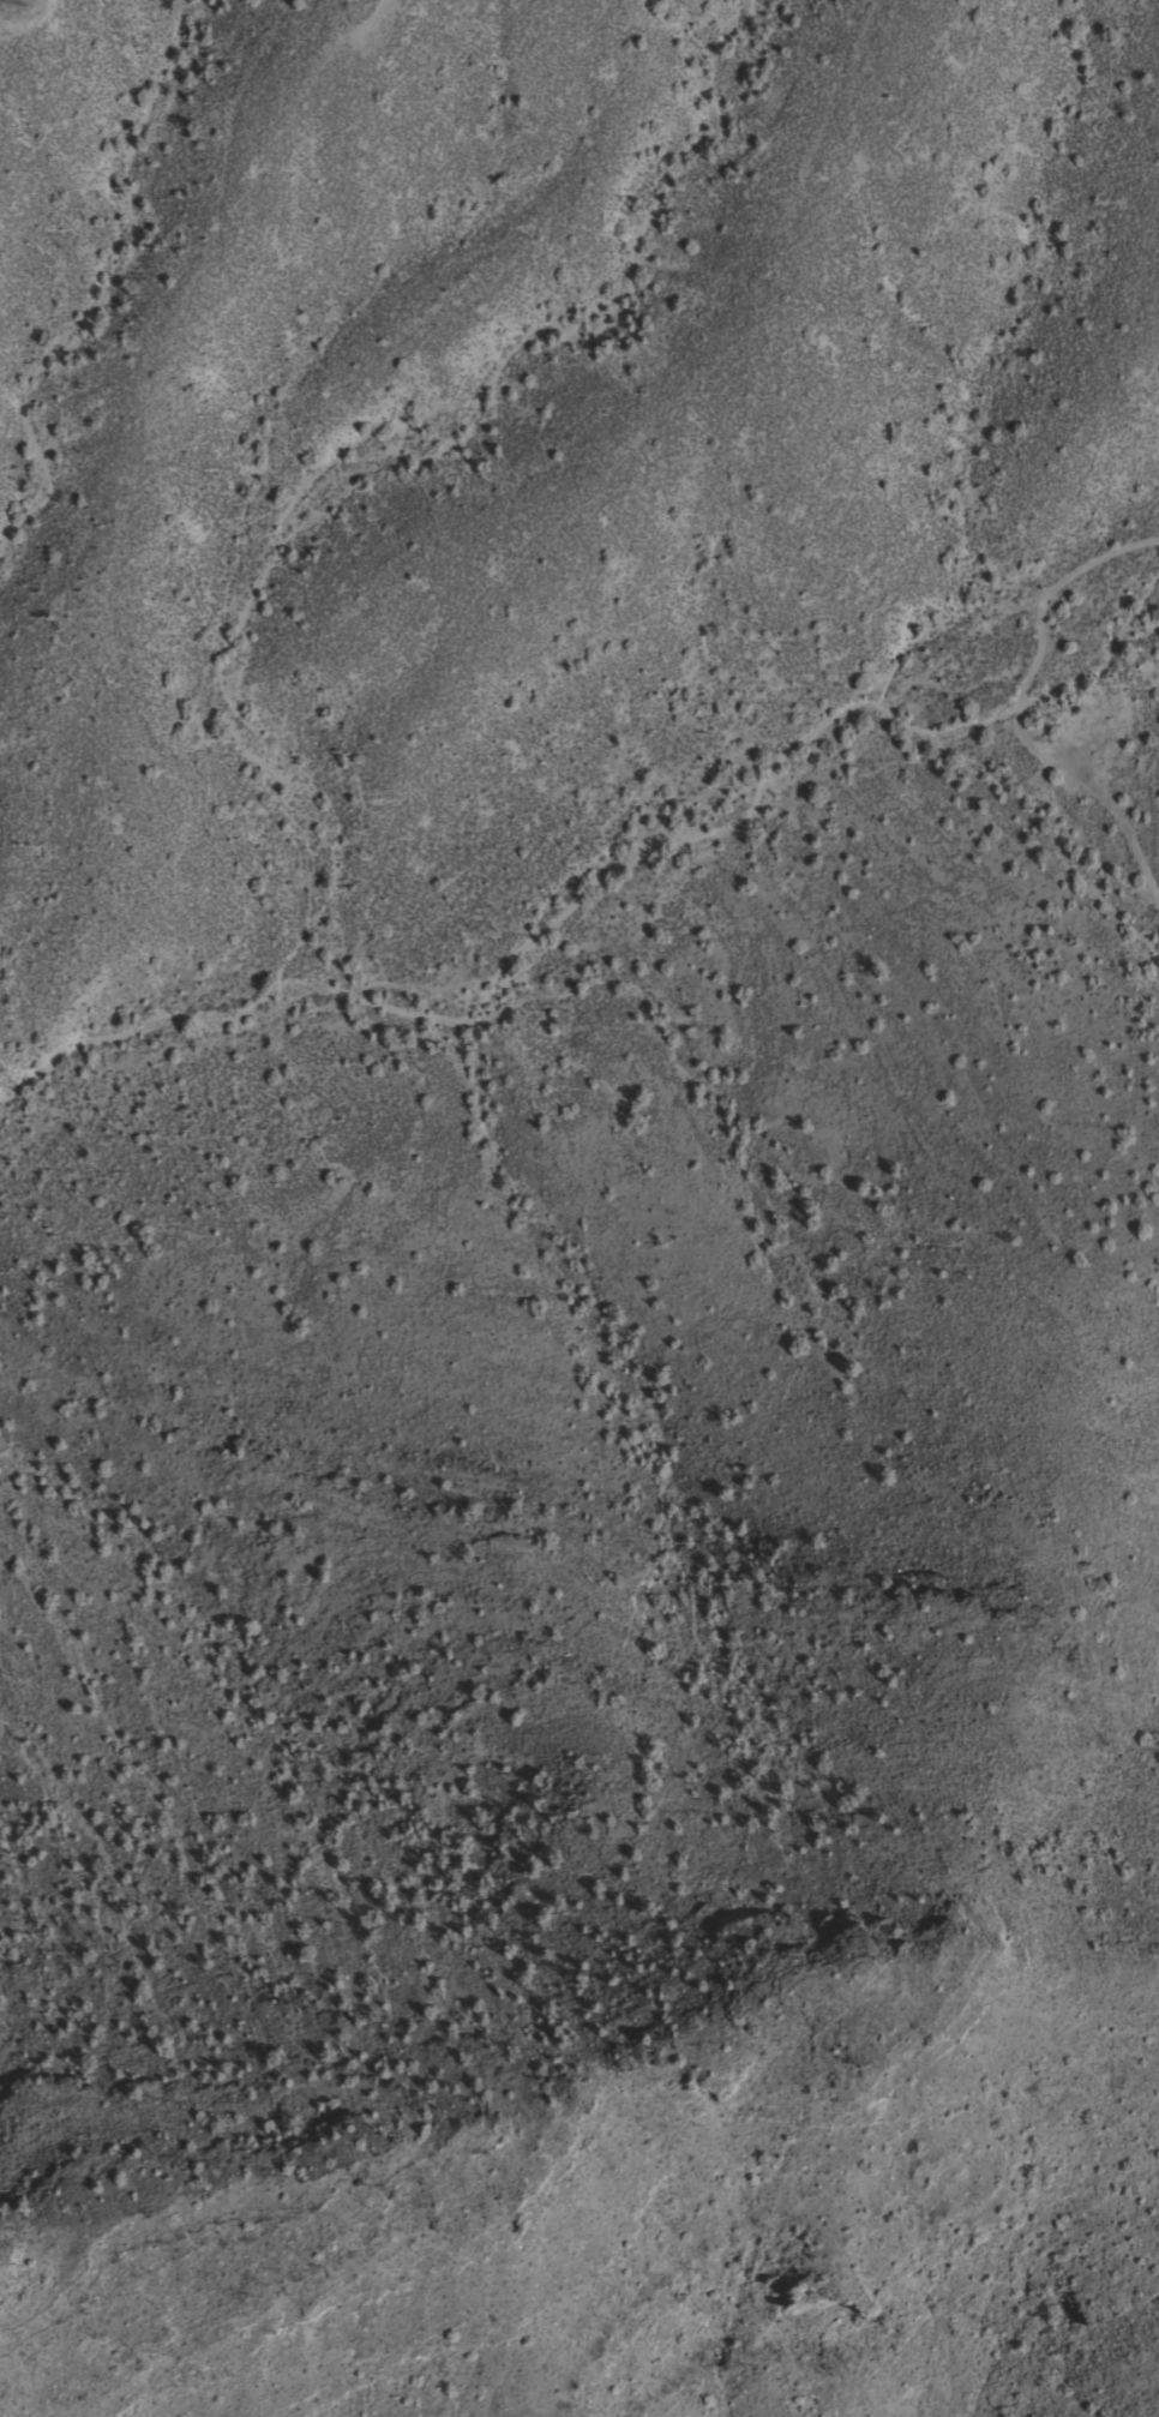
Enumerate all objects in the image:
road: (25, 23)
road: (1016, 707)

